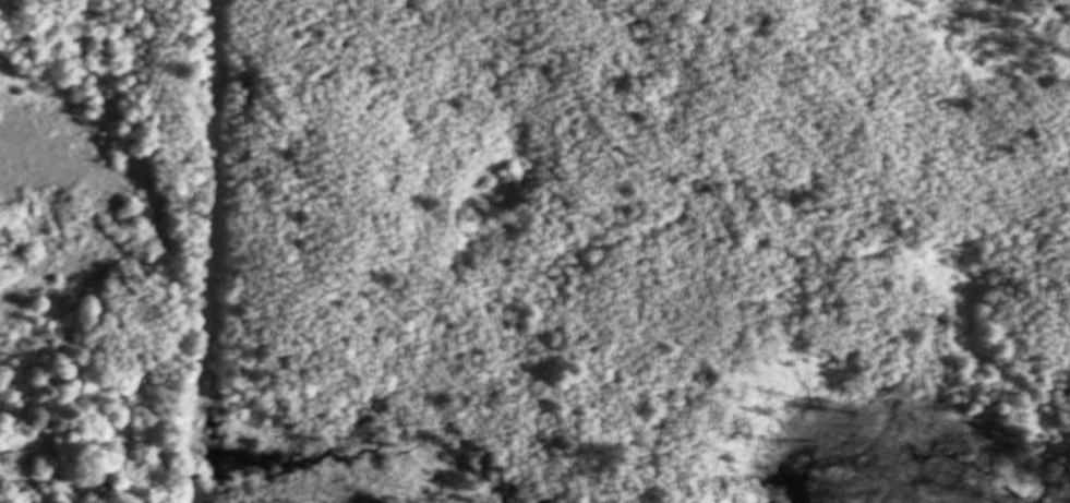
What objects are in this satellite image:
road: (209, 251)

